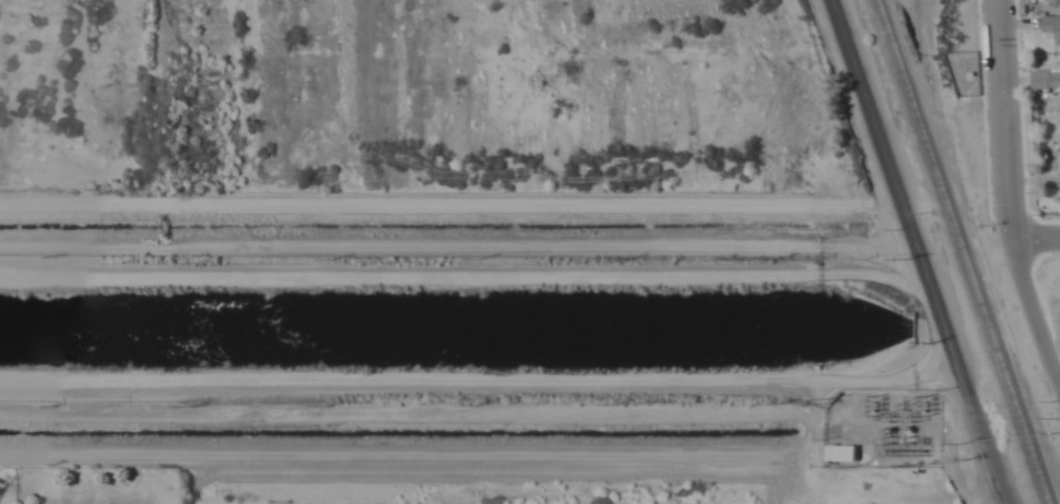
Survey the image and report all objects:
road: (1005, 118)
road: (878, 139)
road: (1036, 237)
railway: (963, 252)
road: (462, 278)
road: (1034, 314)
road: (965, 391)
power substation: (886, 430)
building: (840, 454)
park: (97, 483)

